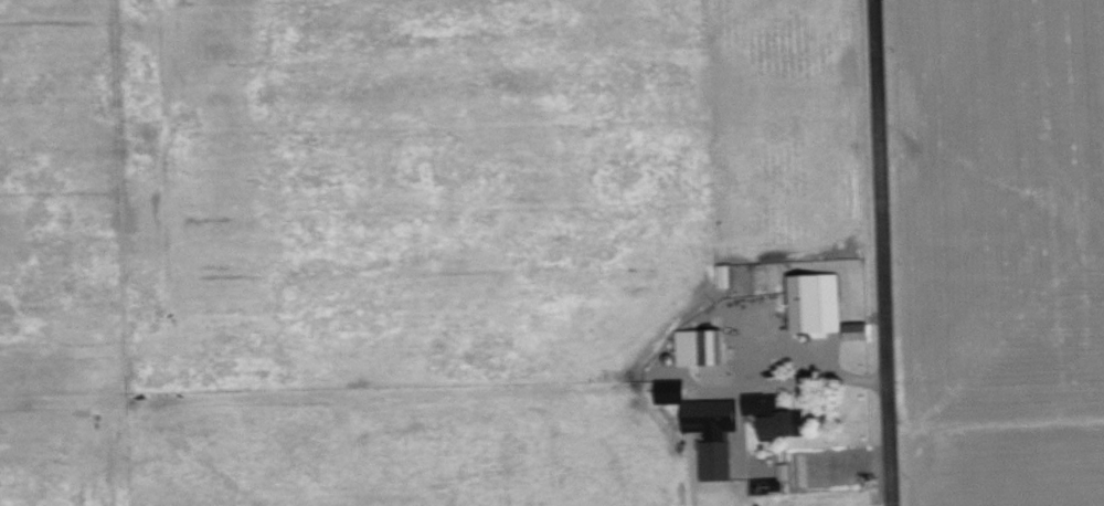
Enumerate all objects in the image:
road: (887, 252)
building: (724, 275)
building: (817, 304)
building: (701, 347)
road: (813, 360)
building: (671, 391)
building: (776, 414)
building: (715, 433)

